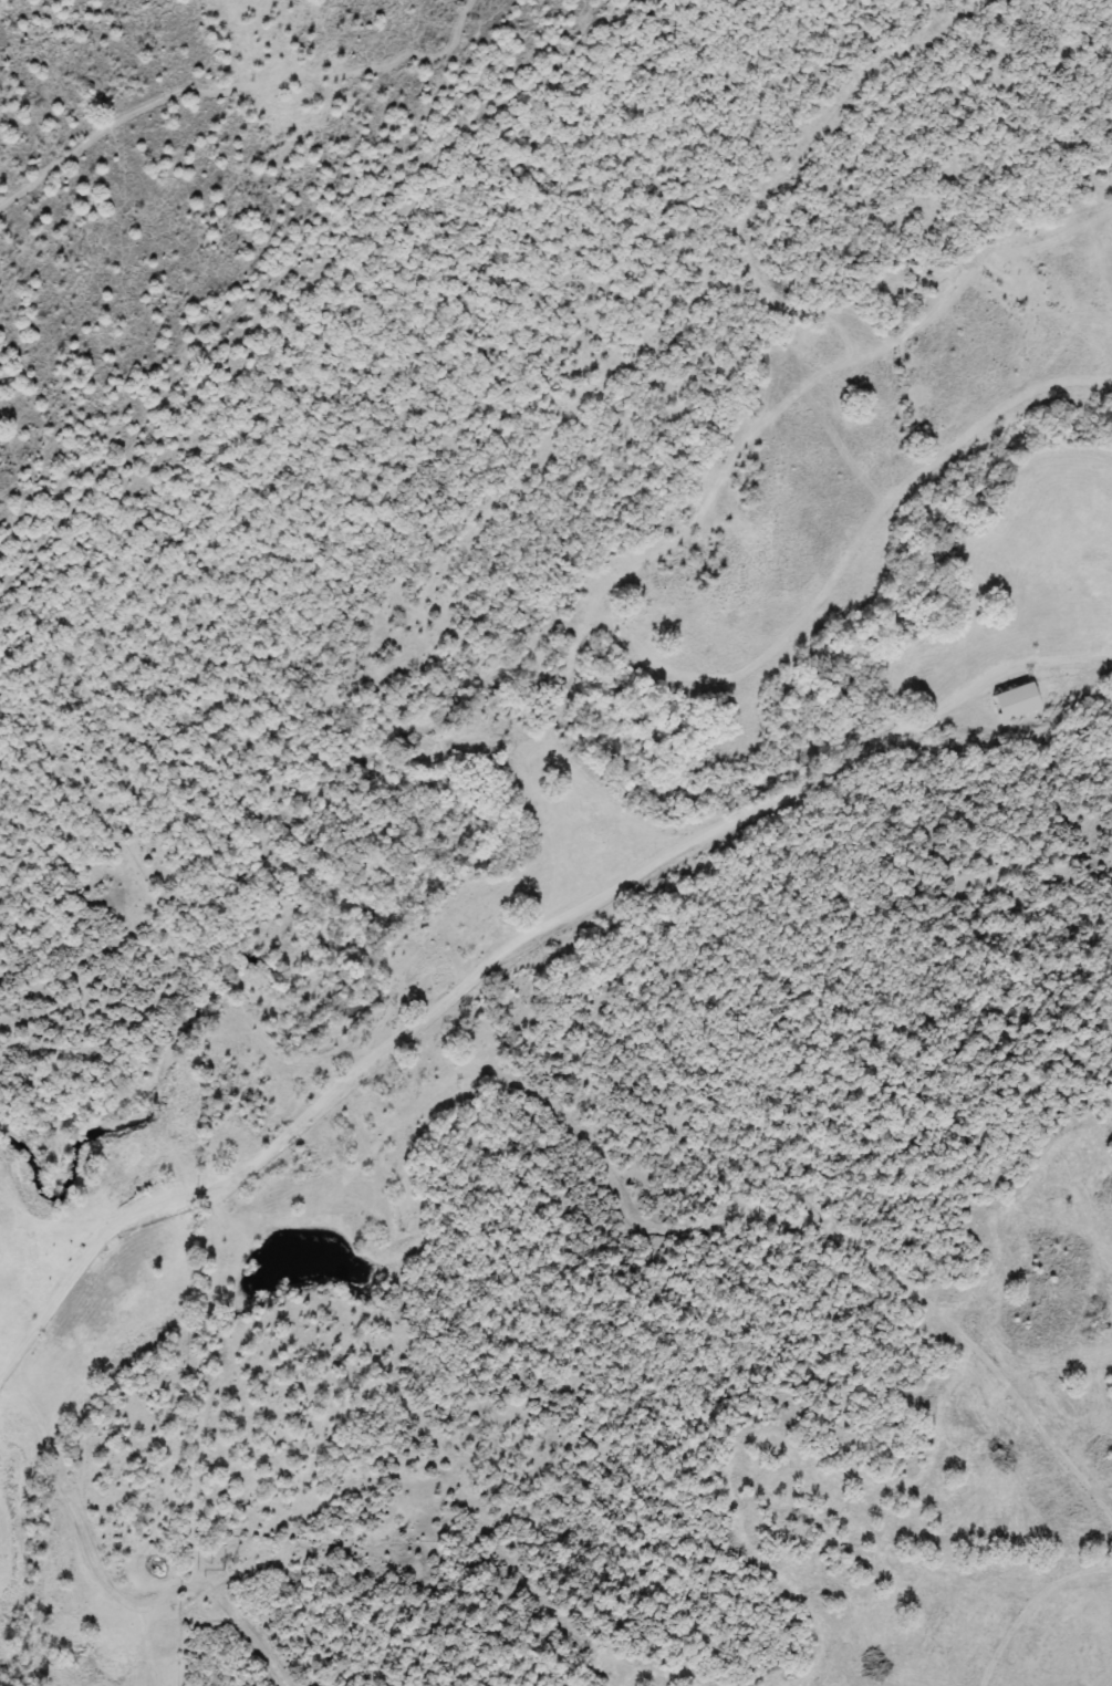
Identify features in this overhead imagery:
building: (1017, 701)
road: (443, 985)

